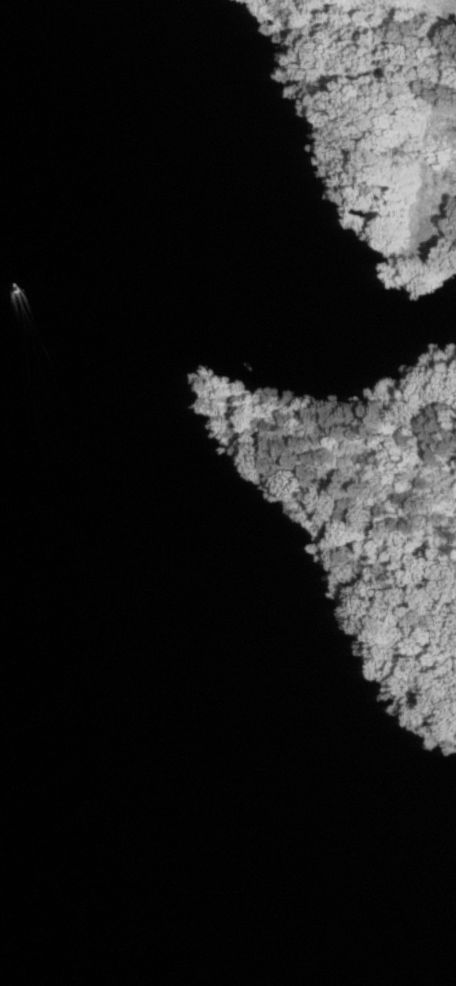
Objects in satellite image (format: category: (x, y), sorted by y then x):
park: (373, 497)

